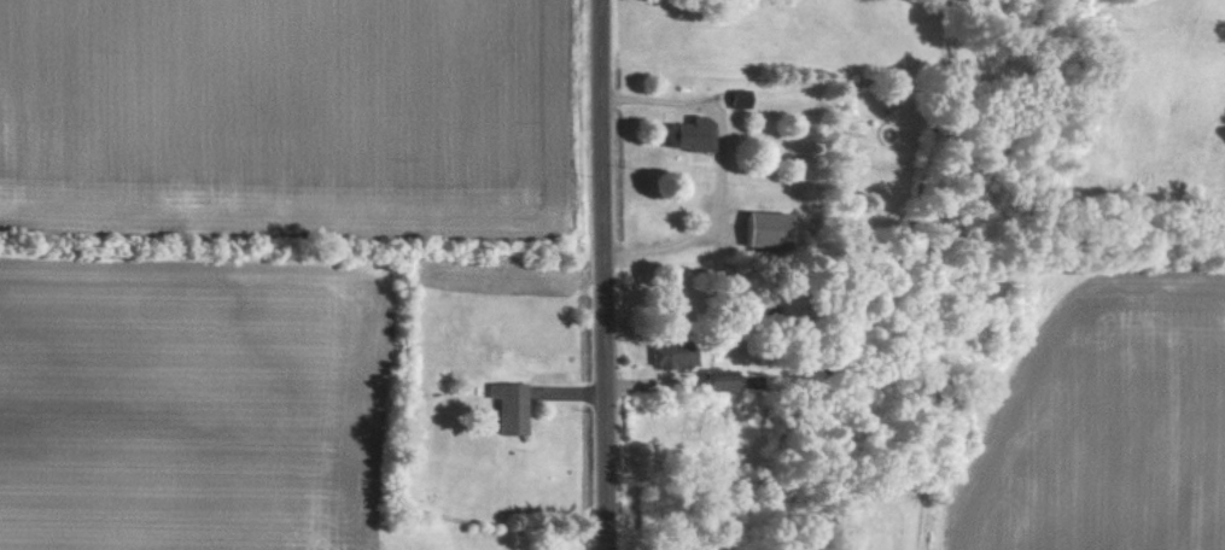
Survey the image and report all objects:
building: (733, 98)
building: (684, 133)
road: (717, 168)
building: (758, 227)
road: (602, 274)
building: (665, 355)
building: (711, 379)
building: (502, 405)

